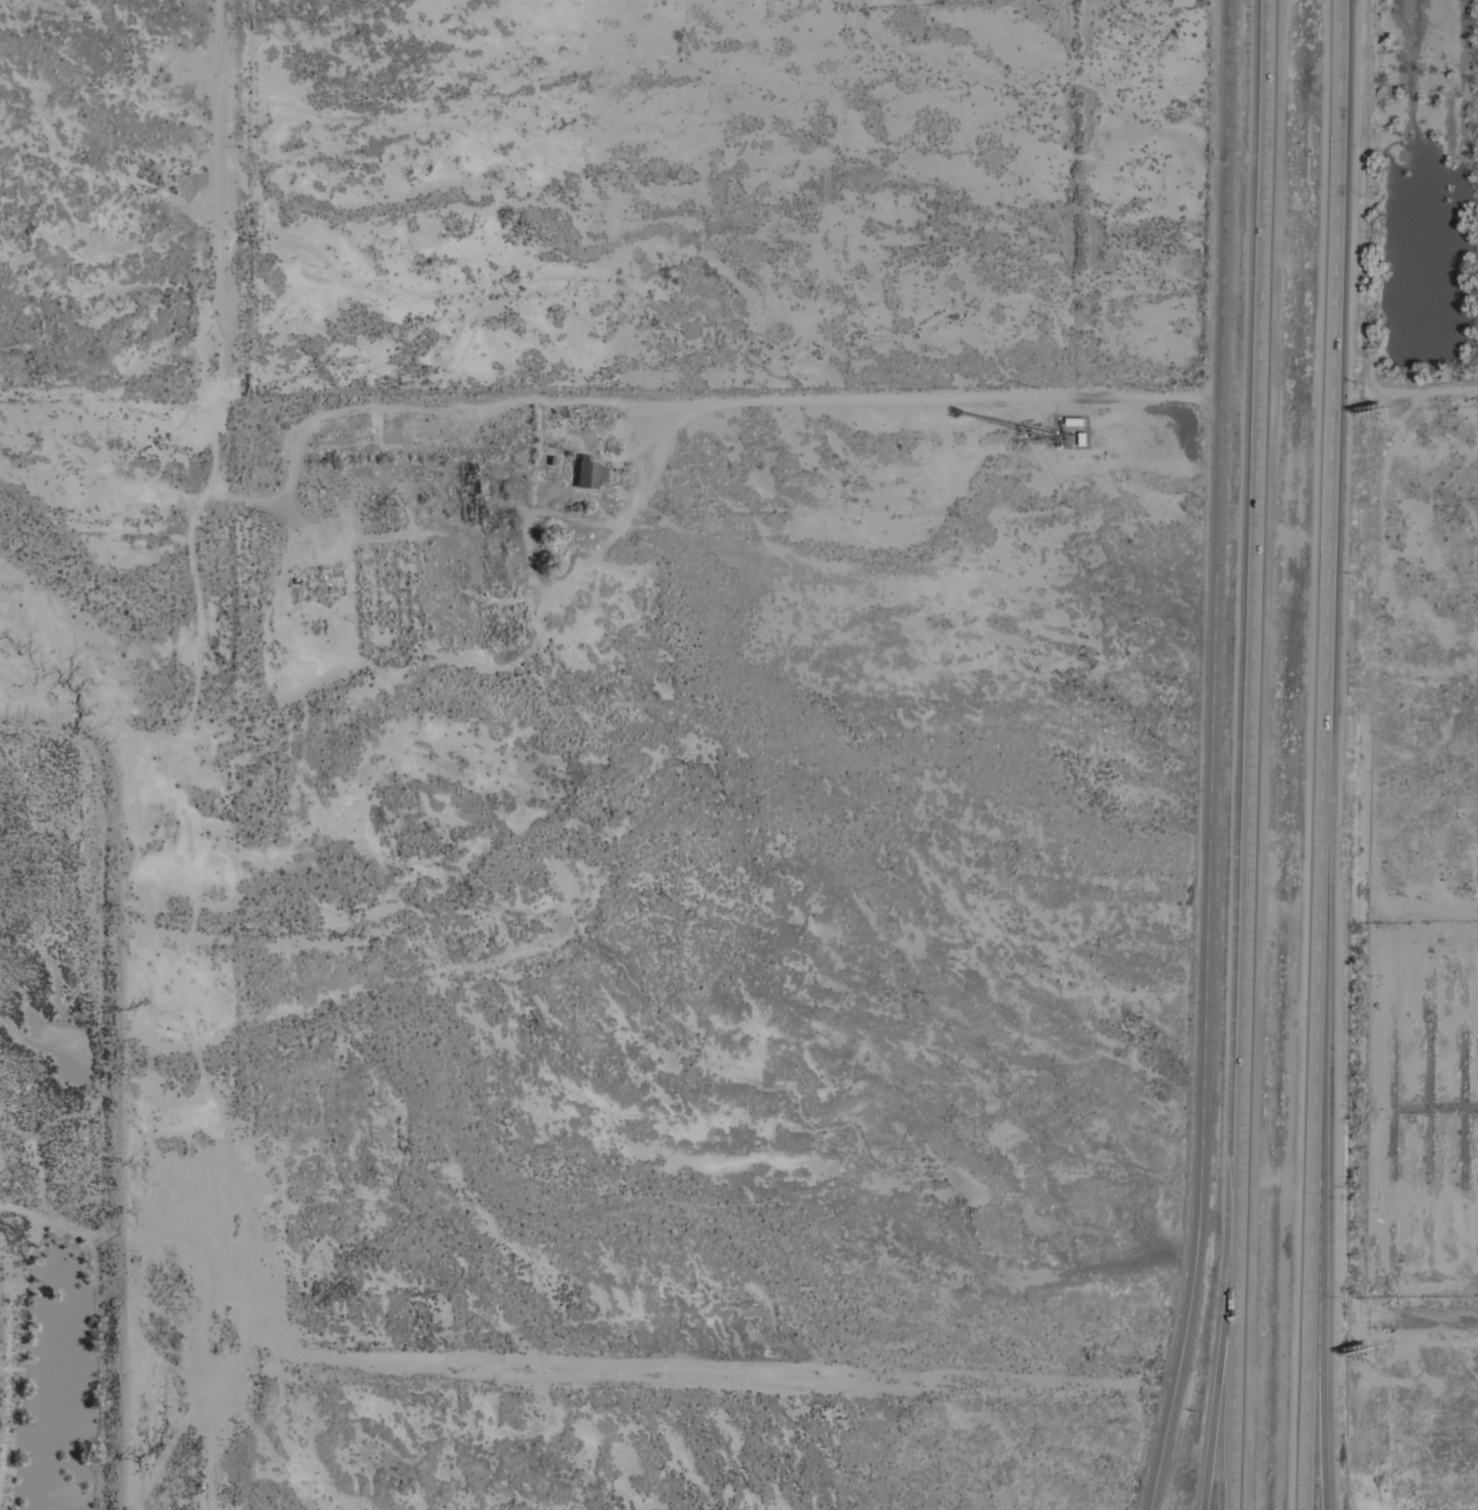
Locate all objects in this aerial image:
road: (224, 196)
road: (894, 401)
road: (314, 422)
building: (587, 476)
road: (1328, 589)
road: (1253, 635)
road: (1211, 757)
road: (1309, 1344)
road: (1320, 1344)
road: (1219, 1390)
road: (1235, 1390)

